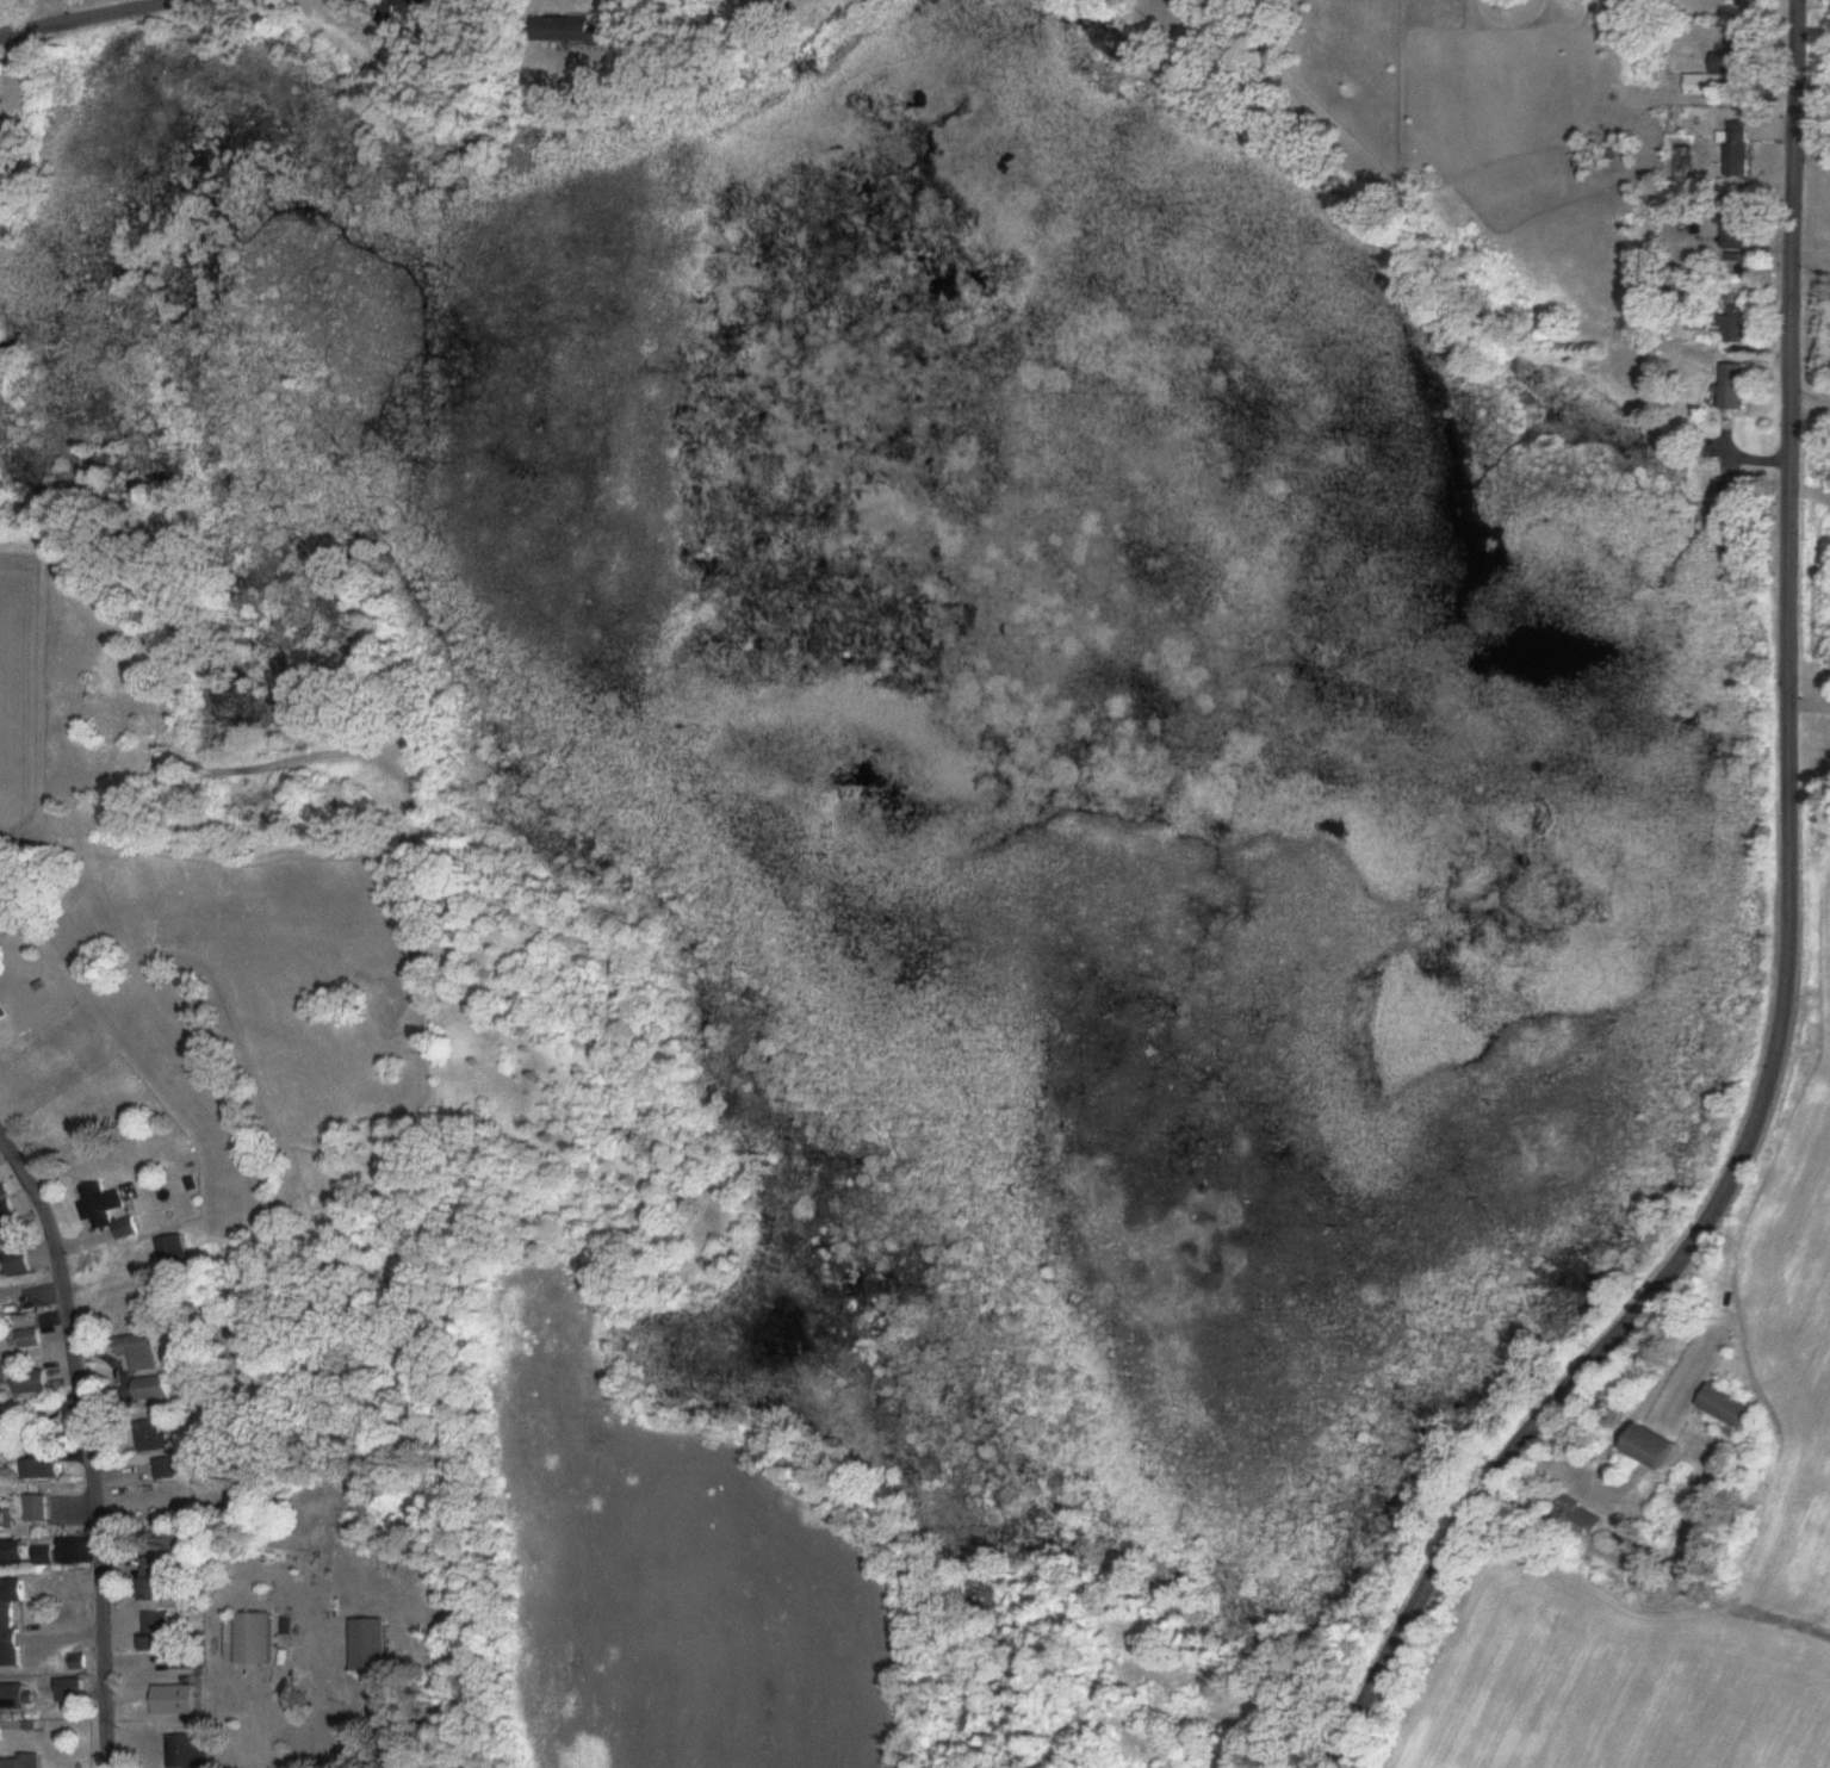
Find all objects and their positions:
building: (1735, 0)
building: (434, 2)
road: (94, 18)
building: (558, 30)
building: (1711, 79)
building: (4, 106)
building: (1732, 155)
building: (1729, 229)
building: (1729, 323)
building: (1732, 386)
road: (1811, 409)
road: (1789, 950)
building: (5, 1011)
building: (113, 1211)
building: (5, 1223)
building: (176, 1253)
building: (19, 1261)
building: (129, 1309)
building: (30, 1338)
building: (145, 1351)
building: (2, 1378)
building: (33, 1382)
building: (155, 1389)
building: (1724, 1409)
building: (148, 1437)
building: (1642, 1448)
road: (87, 1450)
building: (162, 1468)
building: (30, 1469)
building: (38, 1508)
building: (8, 1515)
building: (1574, 1518)
building: (26, 1551)
building: (163, 1574)
building: (13, 1621)
building: (161, 1630)
building: (258, 1637)
building: (364, 1644)
building: (18, 1695)
building: (178, 1699)
building: (191, 1750)
building: (30, 1760)

